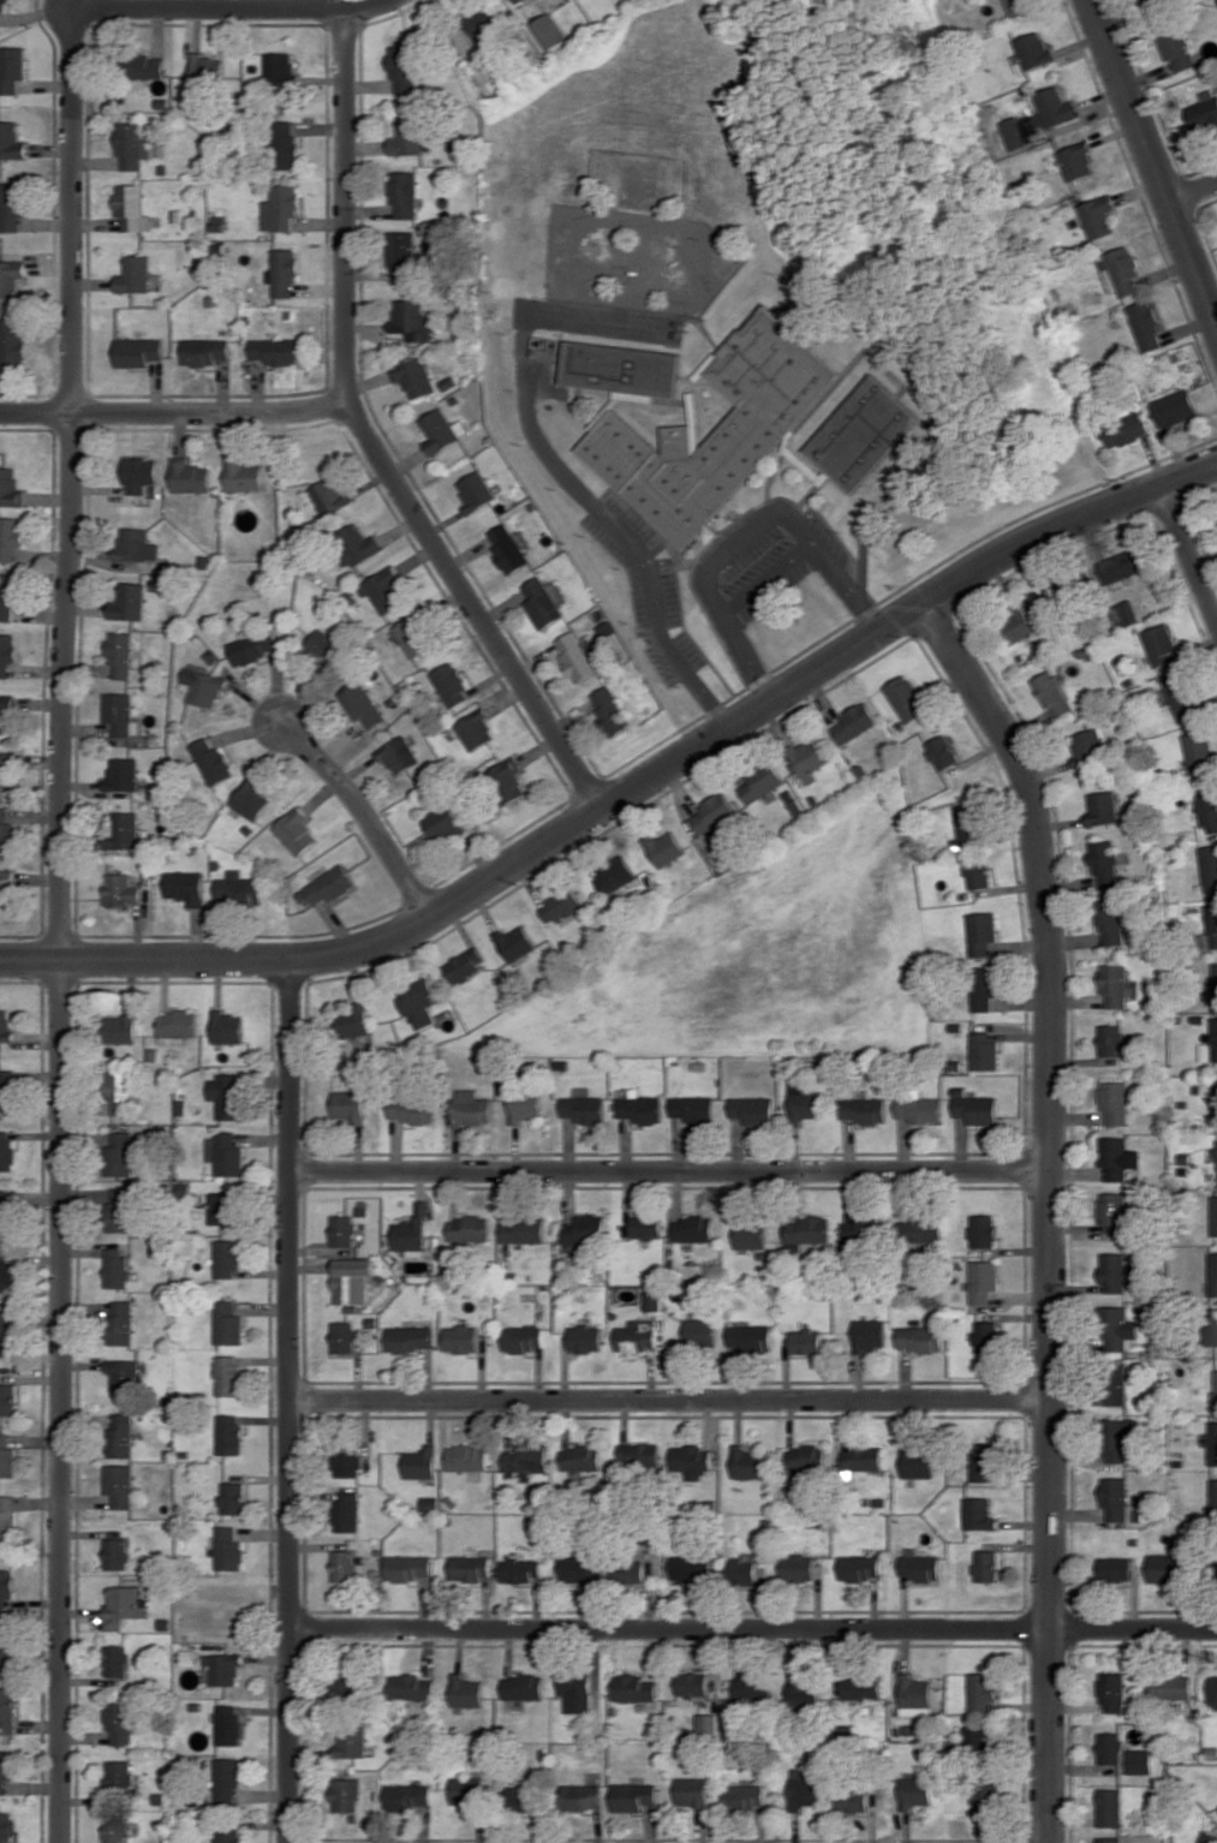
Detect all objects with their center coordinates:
building: (517, 0)
building: (1014, 7)
road: (235, 8)
building: (481, 22)
building: (550, 30)
building: (1176, 48)
building: (1032, 52)
building: (147, 66)
building: (404, 67)
building: (11, 68)
building: (280, 68)
building: (207, 73)
building: (1051, 109)
building: (1204, 113)
building: (407, 137)
building: (11, 141)
building: (285, 144)
building: (132, 145)
building: (1078, 161)
road: (1153, 161)
road: (1193, 191)
building: (404, 193)
building: (11, 207)
building: (133, 208)
building: (281, 208)
building: (1098, 216)
building: (402, 254)
building: (1123, 272)
building: (285, 273)
building: (135, 274)
building: (11, 286)
building: (411, 320)
building: (1146, 326)
building: (13, 342)
building: (275, 350)
building: (138, 351)
building: (205, 351)
building: (628, 369)
building: (414, 376)
building: (1175, 407)
road: (175, 412)
building: (727, 428)
building: (1126, 429)
building: (442, 430)
building: (873, 433)
road: (369, 439)
road: (557, 469)
building: (139, 473)
building: (244, 475)
building: (190, 476)
building: (11, 488)
building: (476, 490)
building: (329, 496)
building: (11, 537)
road: (744, 537)
building: (357, 544)
building: (136, 545)
building: (508, 548)
road: (1188, 553)
building: (1122, 565)
road: (769, 583)
building: (387, 590)
building: (8, 595)
building: (130, 602)
building: (542, 603)
building: (1126, 613)
building: (1018, 626)
building: (416, 636)
building: (1162, 644)
building: (256, 648)
building: (326, 648)
building: (7, 654)
building: (121, 654)
building: (575, 656)
building: (452, 685)
building: (204, 686)
building: (1052, 693)
building: (1181, 697)
building: (905, 698)
building: (362, 703)
building: (6, 709)
building: (610, 710)
building: (120, 712)
building: (853, 723)
building: (476, 729)
building: (1088, 742)
building: (942, 752)
building: (1199, 753)
building: (399, 755)
building: (809, 756)
building: (214, 761)
building: (5, 771)
building: (125, 774)
building: (508, 780)
building: (759, 782)
road: (628, 789)
building: (252, 799)
building: (1102, 807)
building: (1207, 810)
road: (364, 811)
building: (712, 813)
building: (968, 819)
building: (443, 823)
building: (125, 829)
building: (297, 830)
building: (7, 831)
building: (664, 847)
building: (1104, 863)
building: (1209, 866)
building: (977, 872)
building: (614, 875)
building: (6, 884)
building: (327, 885)
building: (186, 887)
building: (239, 888)
building: (124, 890)
building: (560, 905)
building: (1110, 921)
road: (61, 926)
building: (1210, 931)
building: (980, 932)
building: (517, 942)
park: (735, 965)
building: (464, 966)
building: (1114, 984)
building: (1215, 985)
building: (983, 988)
building: (418, 1002)
building: (354, 1021)
building: (6, 1025)
building: (177, 1026)
building: (123, 1027)
building: (227, 1027)
building: (1111, 1039)
building: (1210, 1044)
building: (983, 1051)
building: (7, 1091)
building: (120, 1091)
building: (226, 1096)
building: (805, 1101)
building: (1115, 1103)
building: (1215, 1104)
building: (350, 1105)
building: (471, 1107)
building: (524, 1107)
building: (693, 1108)
building: (583, 1109)
building: (753, 1109)
building: (977, 1109)
building: (414, 1110)
building: (864, 1110)
building: (920, 1110)
building: (7, 1150)
building: (120, 1153)
building: (226, 1153)
building: (1216, 1153)
building: (1117, 1157)
road: (669, 1170)
road: (1050, 1206)
building: (223, 1207)
building: (120, 1210)
building: (5, 1211)
building: (1114, 1212)
building: (1213, 1216)
building: (646, 1225)
building: (469, 1228)
building: (693, 1228)
building: (525, 1229)
building: (585, 1229)
building: (344, 1230)
building: (413, 1230)
building: (920, 1230)
building: (983, 1230)
building: (807, 1231)
building: (864, 1231)
building: (751, 1234)
building: (228, 1258)
building: (117, 1268)
building: (5, 1269)
building: (1114, 1271)
building: (1213, 1274)
building: (354, 1280)
building: (984, 1281)
building: (655, 1300)
building: (120, 1323)
building: (228, 1323)
building: (1118, 1328)
building: (1211, 1330)
building: (702, 1331)
building: (6, 1334)
building: (870, 1334)
building: (638, 1336)
building: (986, 1336)
building: (345, 1337)
building: (586, 1337)
building: (750, 1337)
building: (410, 1338)
building: (463, 1338)
building: (525, 1338)
building: (920, 1338)
building: (806, 1341)
building: (124, 1373)
building: (229, 1376)
building: (1115, 1385)
building: (1216, 1394)
building: (8, 1398)
road: (669, 1398)
road: (290, 1400)
building: (229, 1433)
building: (121, 1435)
building: (1117, 1439)
building: (1213, 1443)
building: (640, 1454)
building: (7, 1457)
building: (469, 1457)
building: (583, 1457)
building: (806, 1457)
building: (863, 1457)
building: (529, 1459)
building: (693, 1460)
building: (347, 1461)
building: (748, 1462)
building: (918, 1462)
building: (984, 1462)
building: (420, 1463)
building: (120, 1485)
building: (1213, 1496)
building: (233, 1497)
building: (1115, 1498)
building: (347, 1511)
building: (979, 1514)
building: (7, 1517)
building: (228, 1547)
building: (117, 1553)
building: (345, 1565)
building: (986, 1565)
building: (410, 1567)
building: (471, 1567)
building: (920, 1567)
building: (580, 1568)
building: (692, 1568)
building: (741, 1568)
building: (798, 1568)
building: (860, 1568)
building: (1115, 1568)
building: (1168, 1568)
building: (521, 1569)
building: (628, 1570)
building: (6, 1586)
building: (124, 1605)
road: (752, 1628)
building: (6, 1650)
building: (117, 1660)
building: (223, 1668)
building: (693, 1683)
building: (344, 1686)
building: (524, 1687)
building: (863, 1687)
building: (1171, 1687)
building: (634, 1688)
building: (414, 1690)
building: (467, 1690)
building: (752, 1690)
building: (983, 1690)
building: (577, 1692)
building: (1112, 1692)
building: (1212, 1692)
building: (805, 1693)
building: (917, 1695)
building: (7, 1710)
building: (119, 1720)
building: (228, 1724)
building: (709, 1724)
building: (976, 1740)
building: (352, 1743)
building: (1110, 1747)
building: (1140, 1760)
building: (6, 1769)
building: (119, 1773)
building: (227, 1778)
building: (467, 1790)
building: (804, 1790)
building: (917, 1791)
building: (692, 1793)
building: (984, 1794)
building: (347, 1795)
building: (408, 1795)
building: (581, 1796)
building: (633, 1796)
building: (745, 1796)
building: (520, 1799)
building: (853, 1801)
building: (1110, 1807)
building: (6, 1826)
building: (117, 1829)
building: (227, 1836)
building: (1209, 1837)
building: (1110, 1839)

